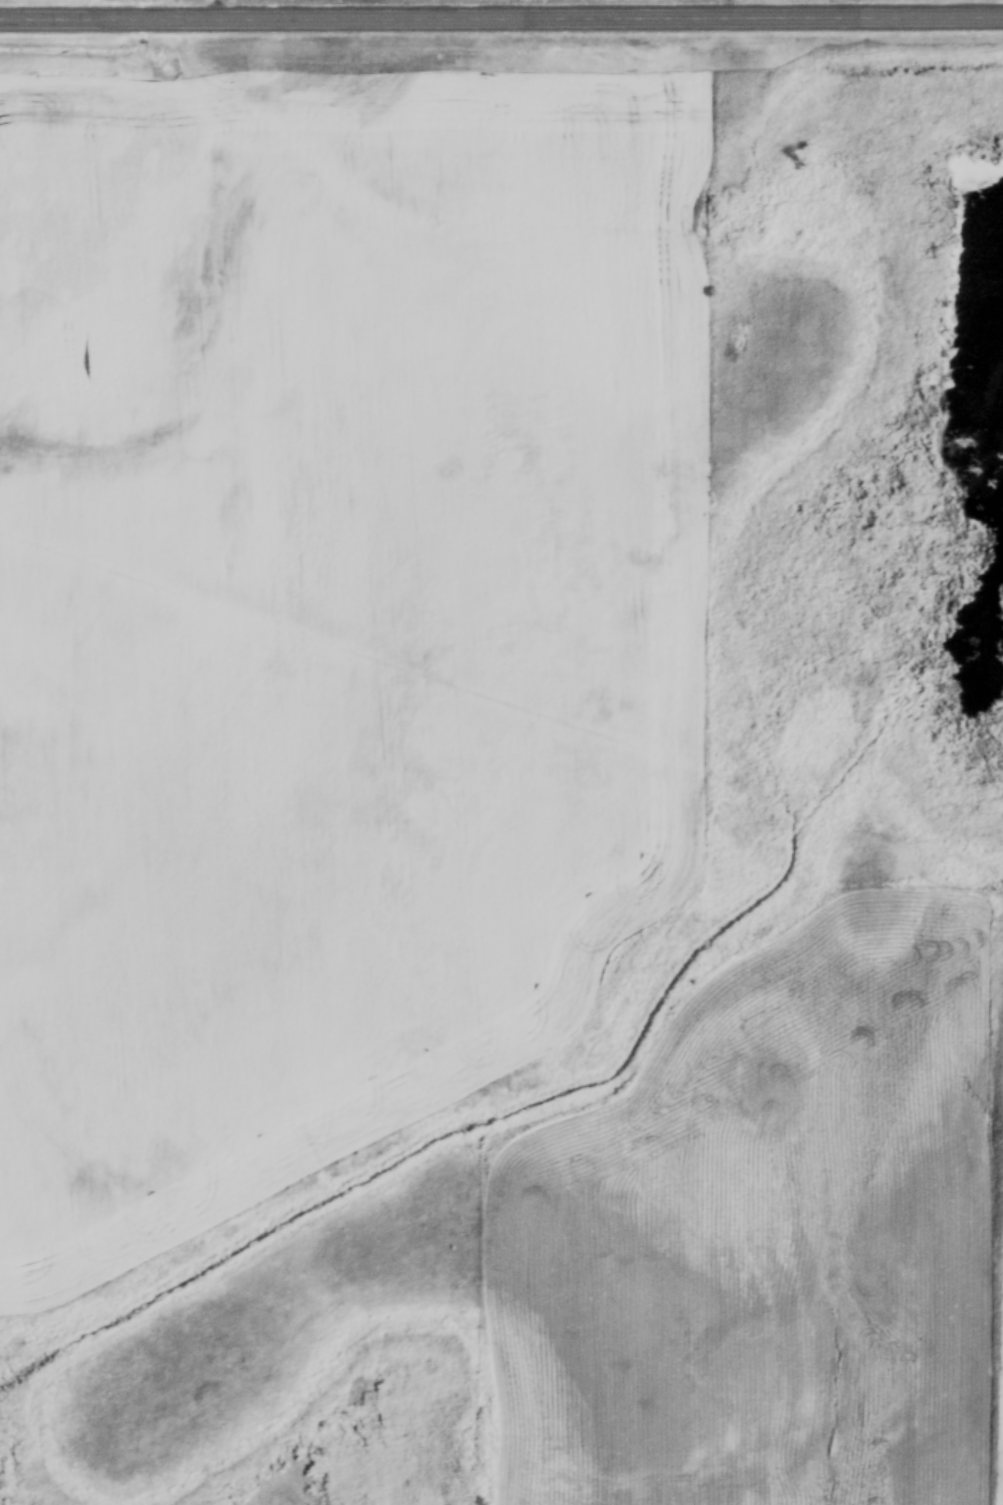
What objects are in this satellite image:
road: (501, 18)
river: (865, 575)
river: (10, 1396)

